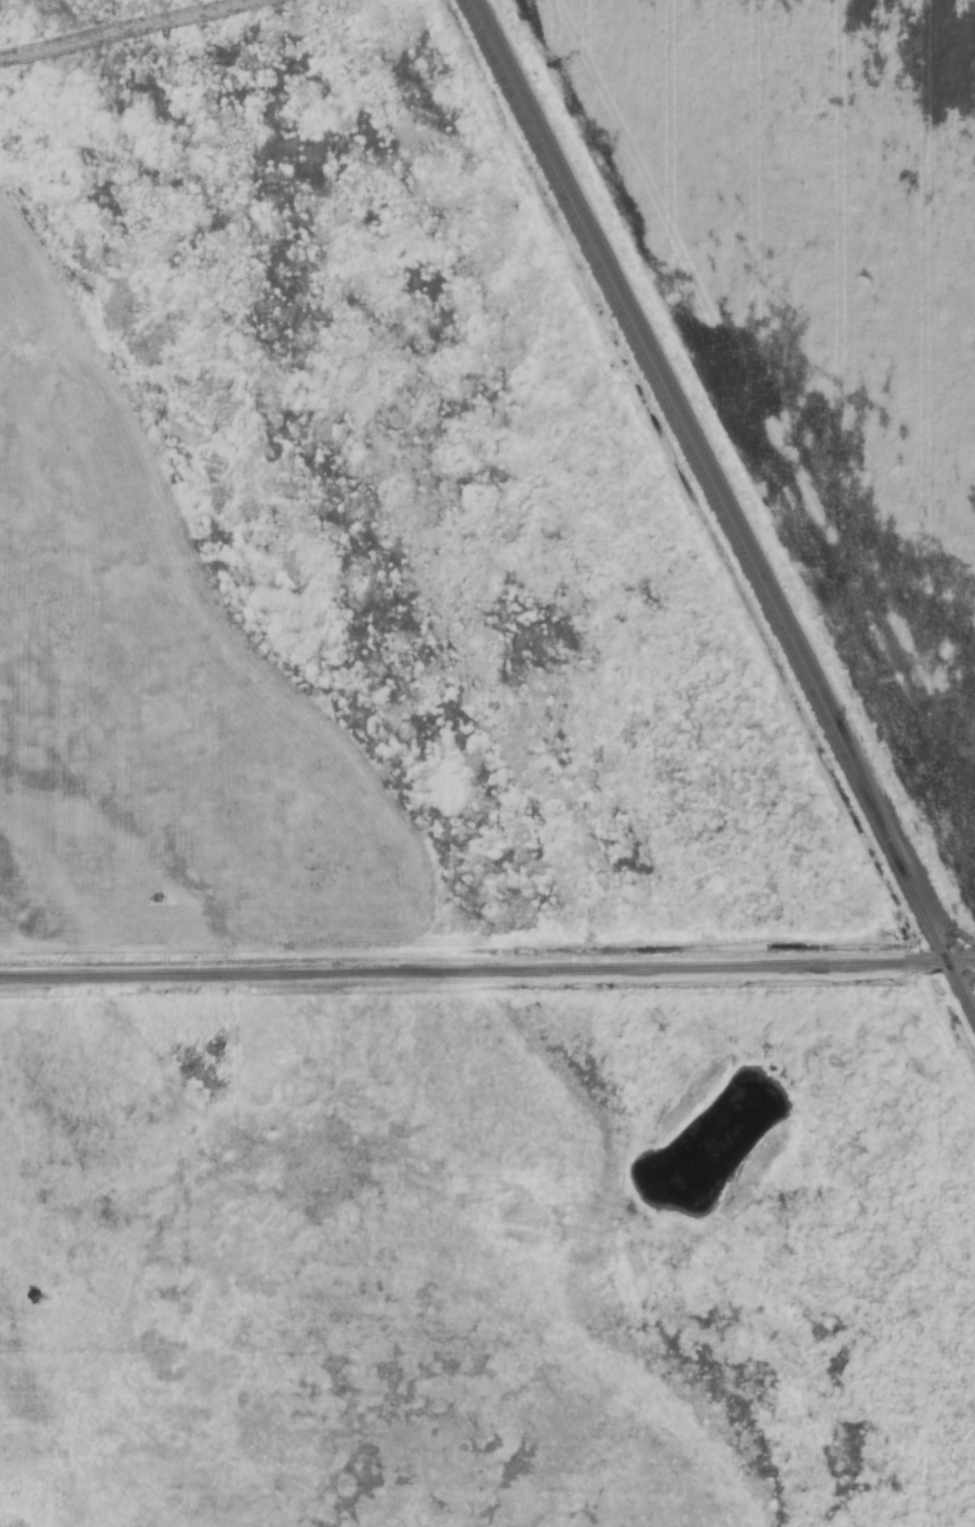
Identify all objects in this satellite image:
railway: (689, 419)
railway: (721, 507)
road: (487, 965)

